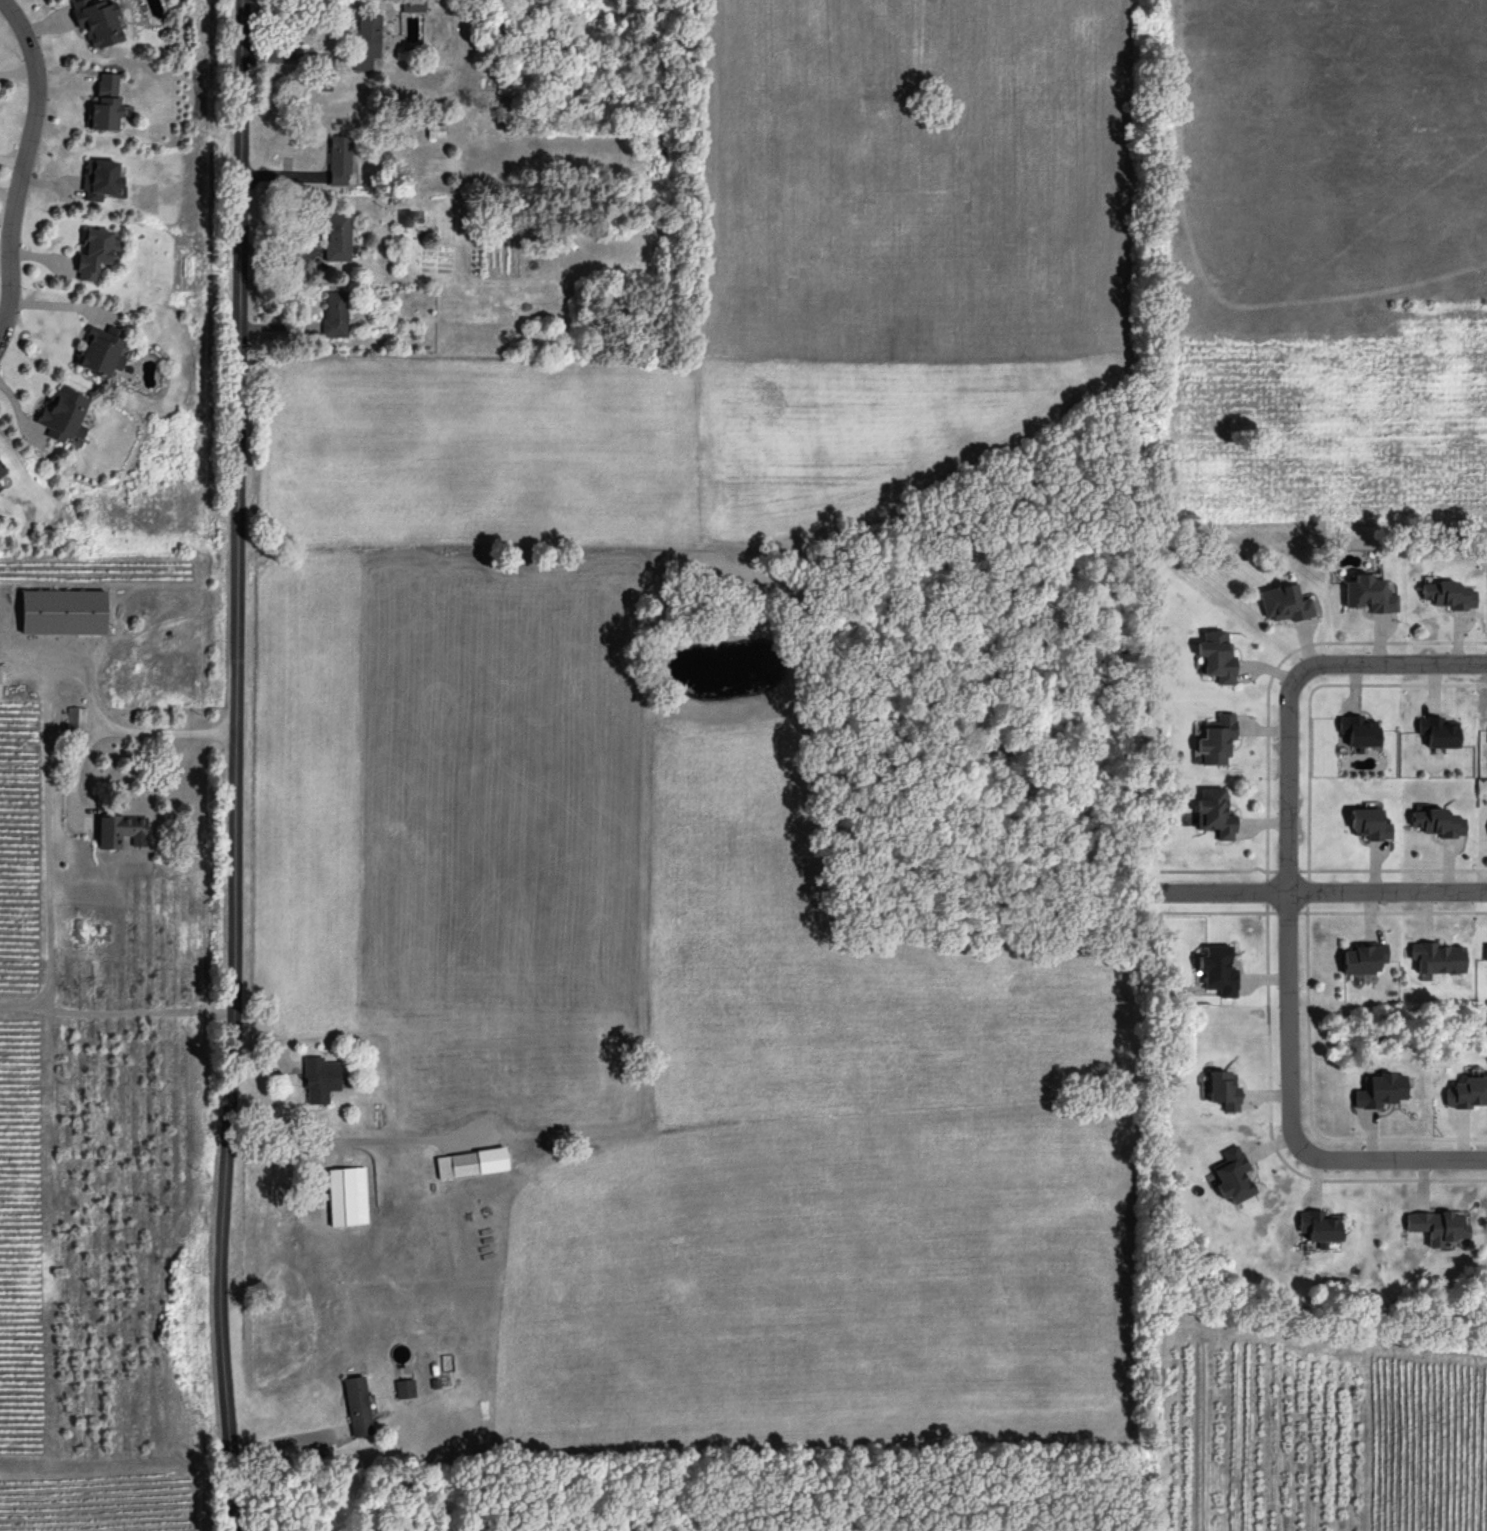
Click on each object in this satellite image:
building: (413, 5)
building: (98, 20)
building: (367, 38)
building: (106, 101)
building: (340, 158)
road: (25, 170)
building: (101, 178)
building: (411, 216)
building: (338, 234)
building: (96, 251)
building: (335, 312)
building: (104, 349)
building: (65, 412)
building: (1, 469)
building: (1450, 596)
building: (1372, 597)
building: (1286, 604)
building: (64, 609)
building: (1217, 657)
road: (1278, 664)
road: (1396, 666)
road: (1309, 694)
building: (76, 718)
road: (126, 730)
building: (1363, 730)
building: (1443, 731)
building: (1216, 743)
crop: (726, 762)
road: (242, 765)
building: (1215, 817)
building: (1440, 820)
building: (1371, 822)
building: (121, 829)
road: (1393, 868)
road: (1219, 869)
road: (1288, 869)
road: (1268, 890)
road: (1309, 890)
road: (1319, 893)
road: (1292, 909)
road: (1394, 910)
road: (1219, 911)
road: (1289, 911)
building: (1486, 950)
building: (1366, 956)
building: (1439, 956)
building: (1220, 969)
building: (321, 1078)
building: (1223, 1089)
building: (1380, 1089)
road: (1309, 1103)
road: (1271, 1137)
road: (1391, 1158)
building: (471, 1161)
building: (1231, 1174)
building: (348, 1195)
building: (1319, 1224)
building: (1436, 1224)
building: (405, 1387)
building: (357, 1404)
road: (292, 1437)

